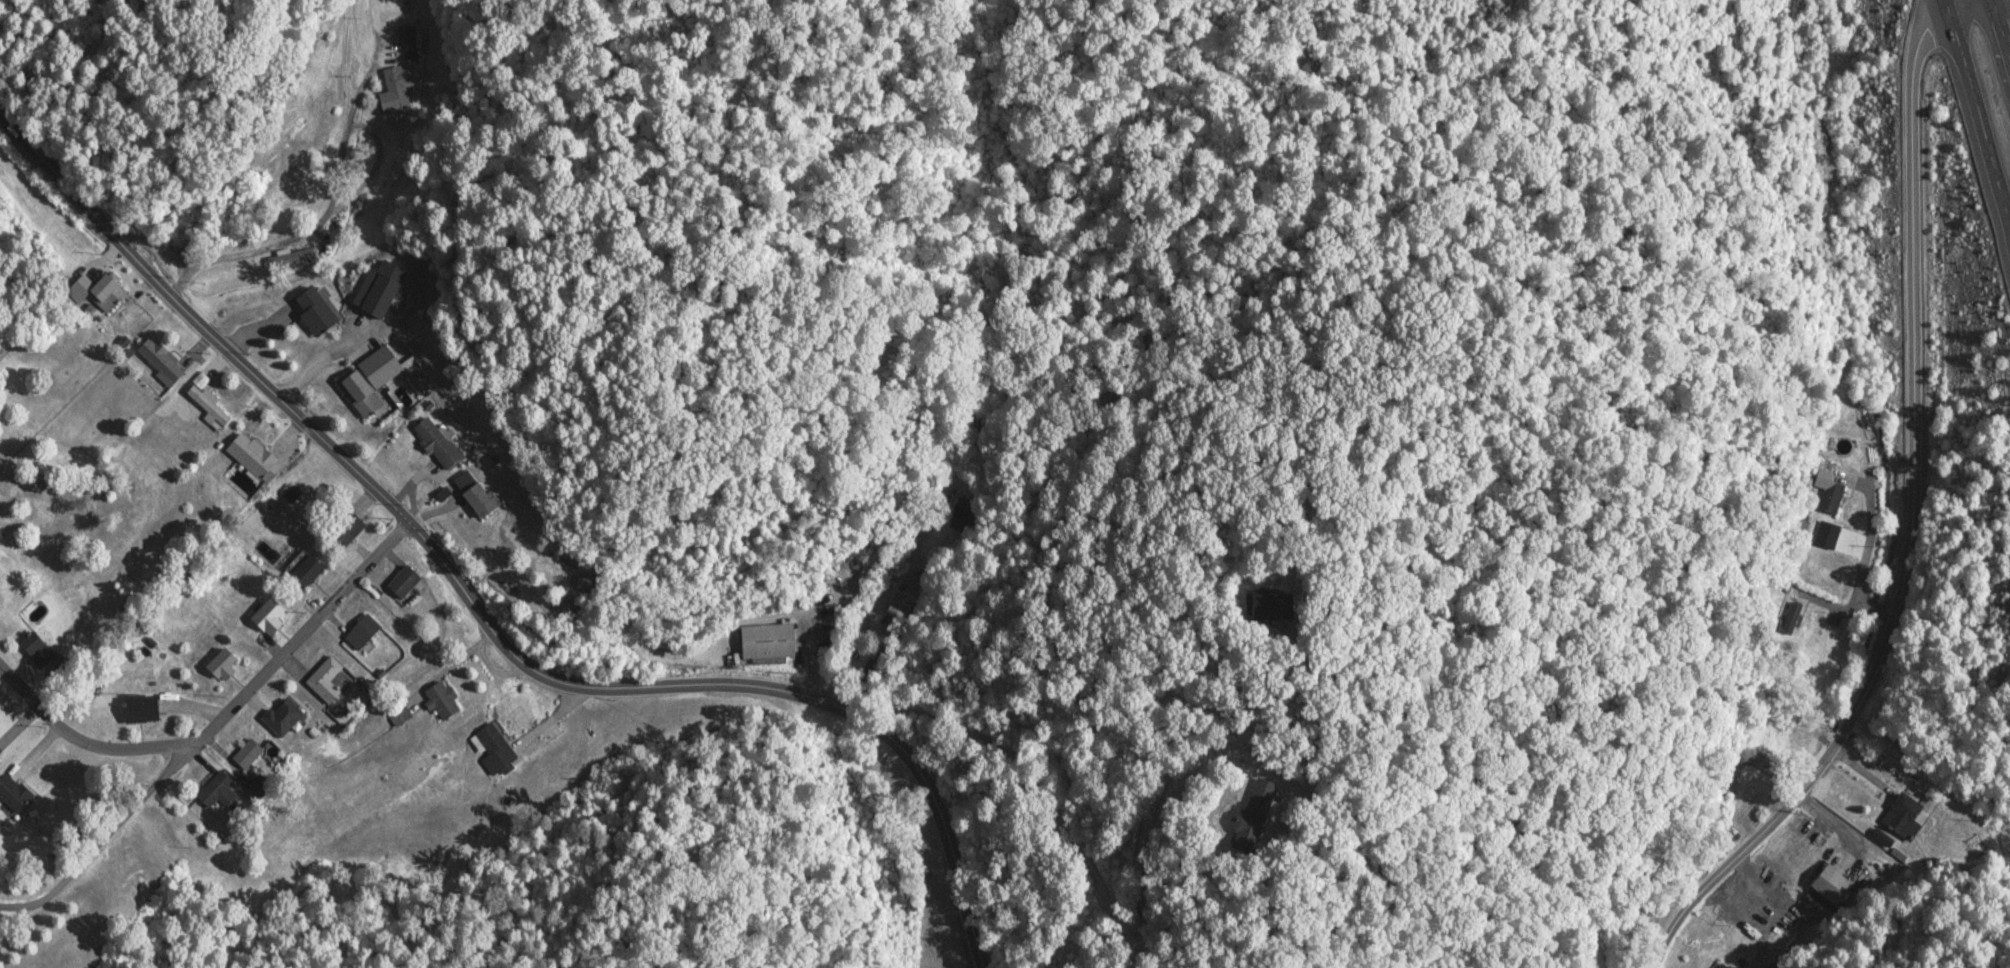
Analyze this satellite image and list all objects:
road: (2000, 30)
building: (410, 36)
building: (397, 89)
road: (1977, 110)
road: (326, 180)
road: (2008, 228)
road: (165, 249)
building: (382, 288)
building: (99, 291)
building: (321, 310)
road: (195, 321)
building: (162, 360)
road: (319, 361)
building: (371, 380)
building: (209, 402)
building: (439, 443)
building: (256, 457)
building: (1830, 490)
building: (477, 493)
building: (958, 518)
road: (1909, 521)
building: (351, 528)
building: (3, 533)
building: (310, 571)
building: (407, 582)
building: (591, 582)
building: (901, 603)
building: (1274, 605)
building: (1794, 613)
building: (270, 614)
building: (366, 632)
building: (772, 641)
building: (40, 649)
building: (227, 664)
building: (330, 679)
road: (743, 687)
building: (448, 700)
building: (145, 709)
building: (286, 717)
road: (212, 727)
building: (494, 738)
road: (85, 741)
building: (251, 753)
building: (263, 786)
building: (221, 790)
building: (13, 791)
building: (1263, 813)
building: (1906, 816)
building: (1833, 886)
building: (1726, 965)

